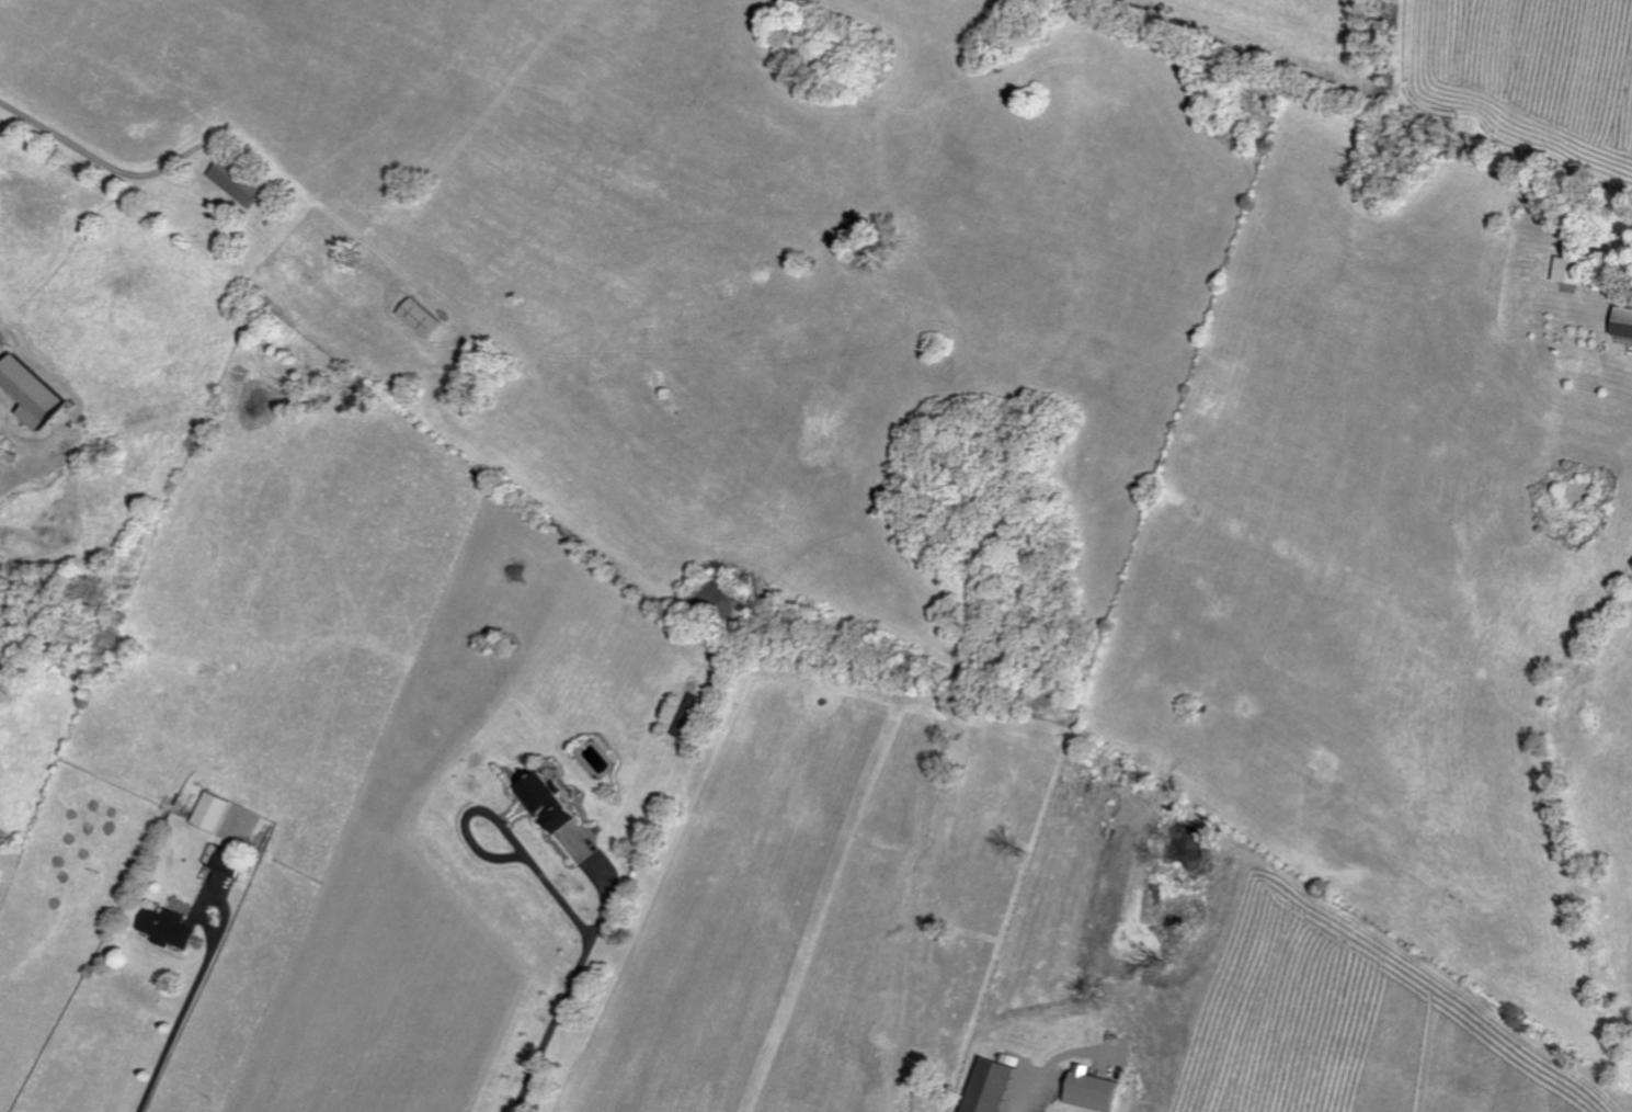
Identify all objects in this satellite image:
road: (92, 155)
building: (233, 180)
building: (1570, 270)
building: (416, 316)
building: (1623, 321)
building: (30, 390)
building: (687, 716)
building: (545, 802)
road: (473, 807)
building: (222, 817)
building: (222, 864)
building: (162, 927)
road: (572, 973)
road: (185, 1000)
building: (989, 1083)

